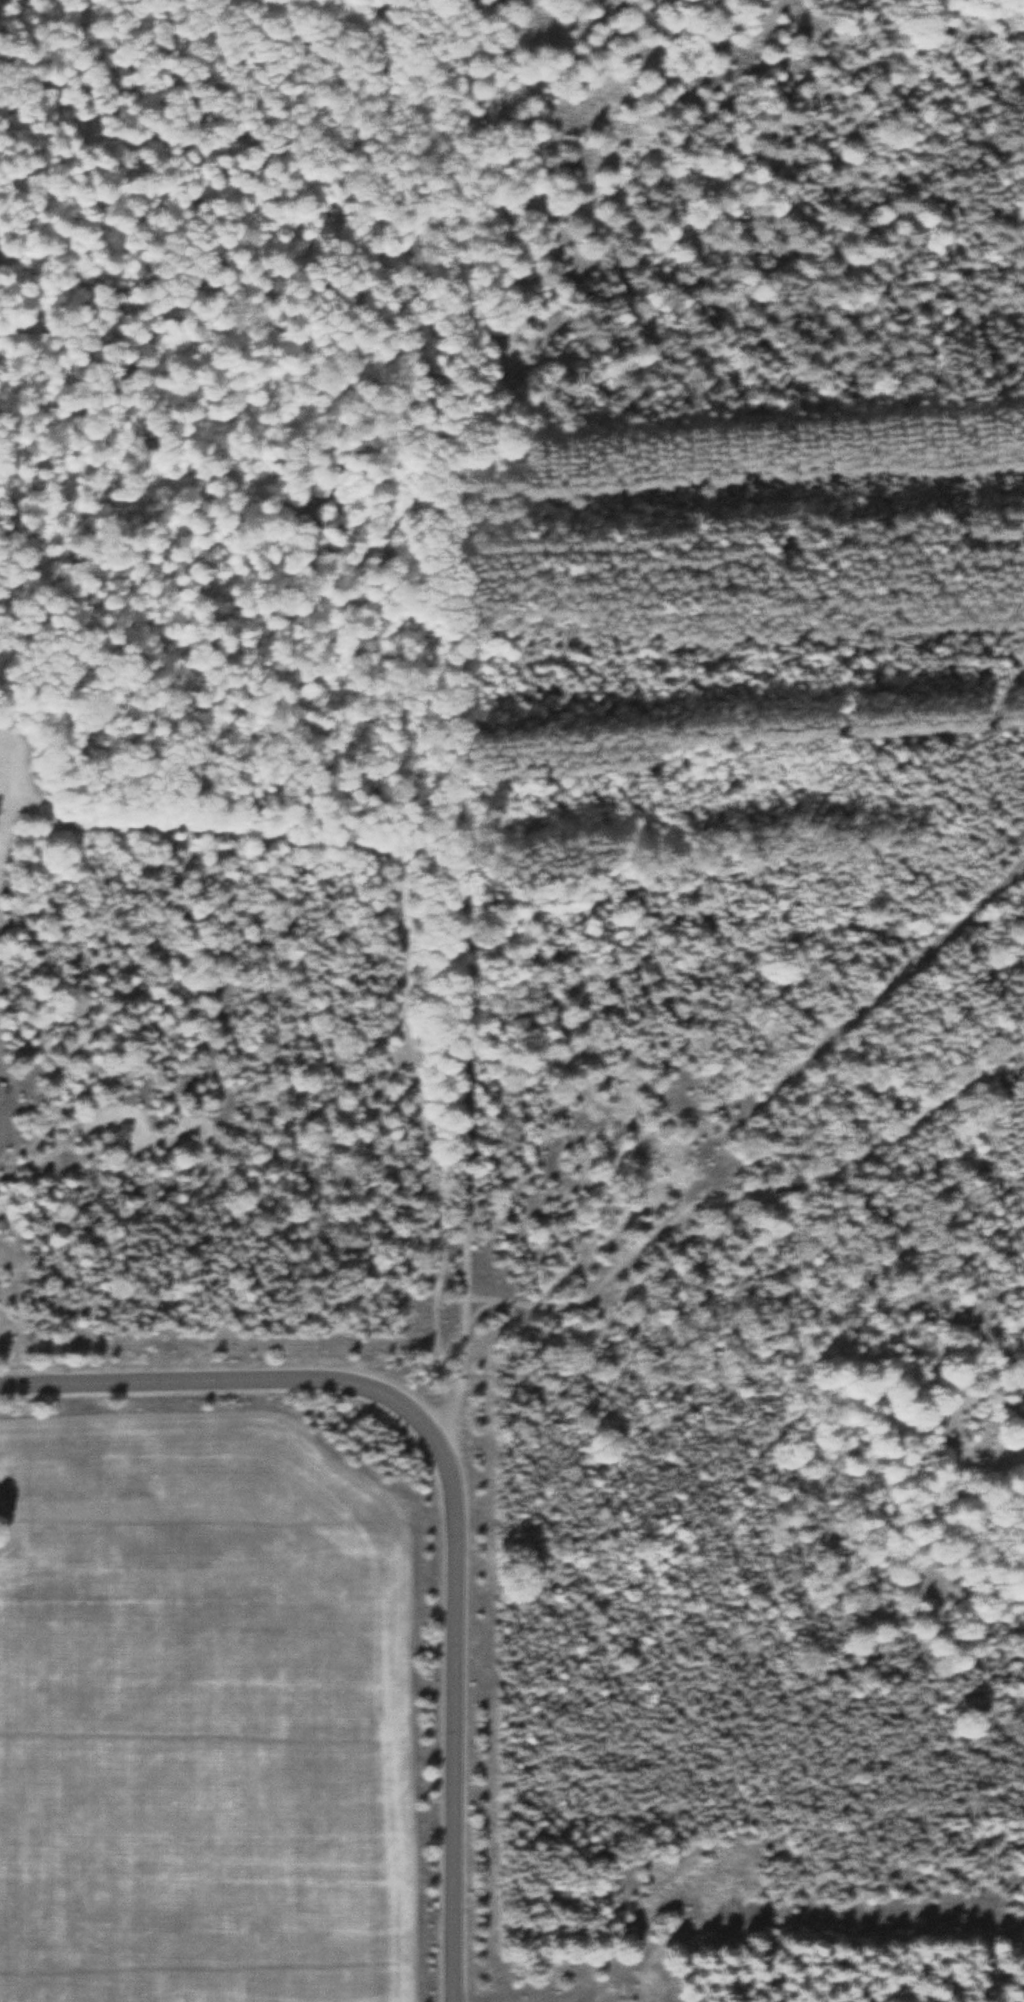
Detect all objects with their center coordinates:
road: (744, 729)
road: (457, 1000)
road: (237, 1379)
road: (450, 1728)

